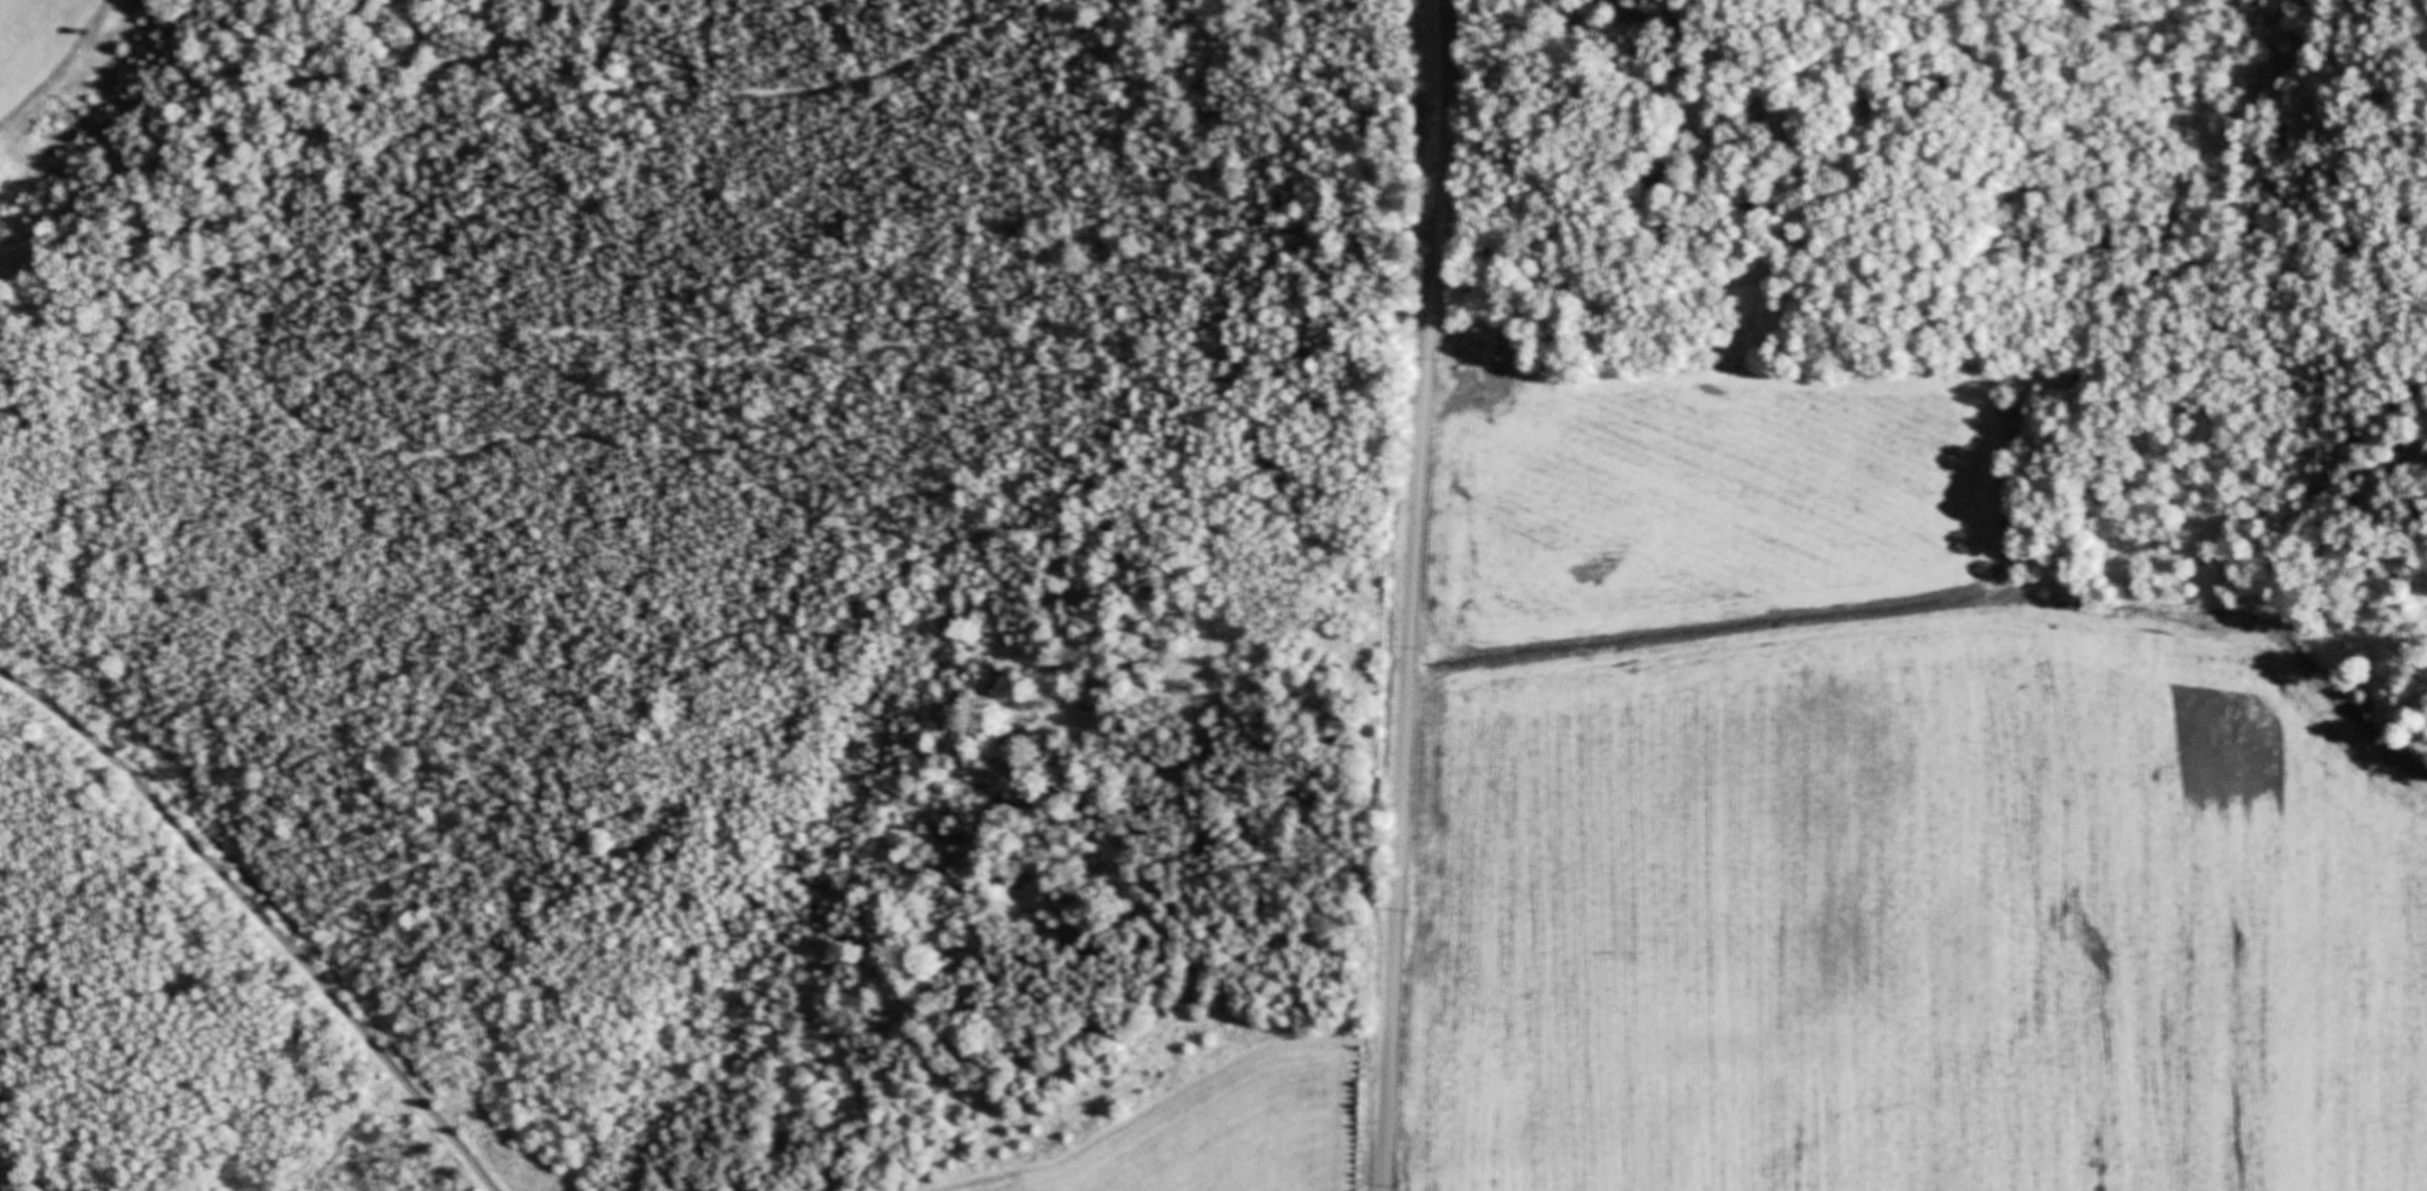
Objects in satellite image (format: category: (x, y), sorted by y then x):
road: (1412, 595)

